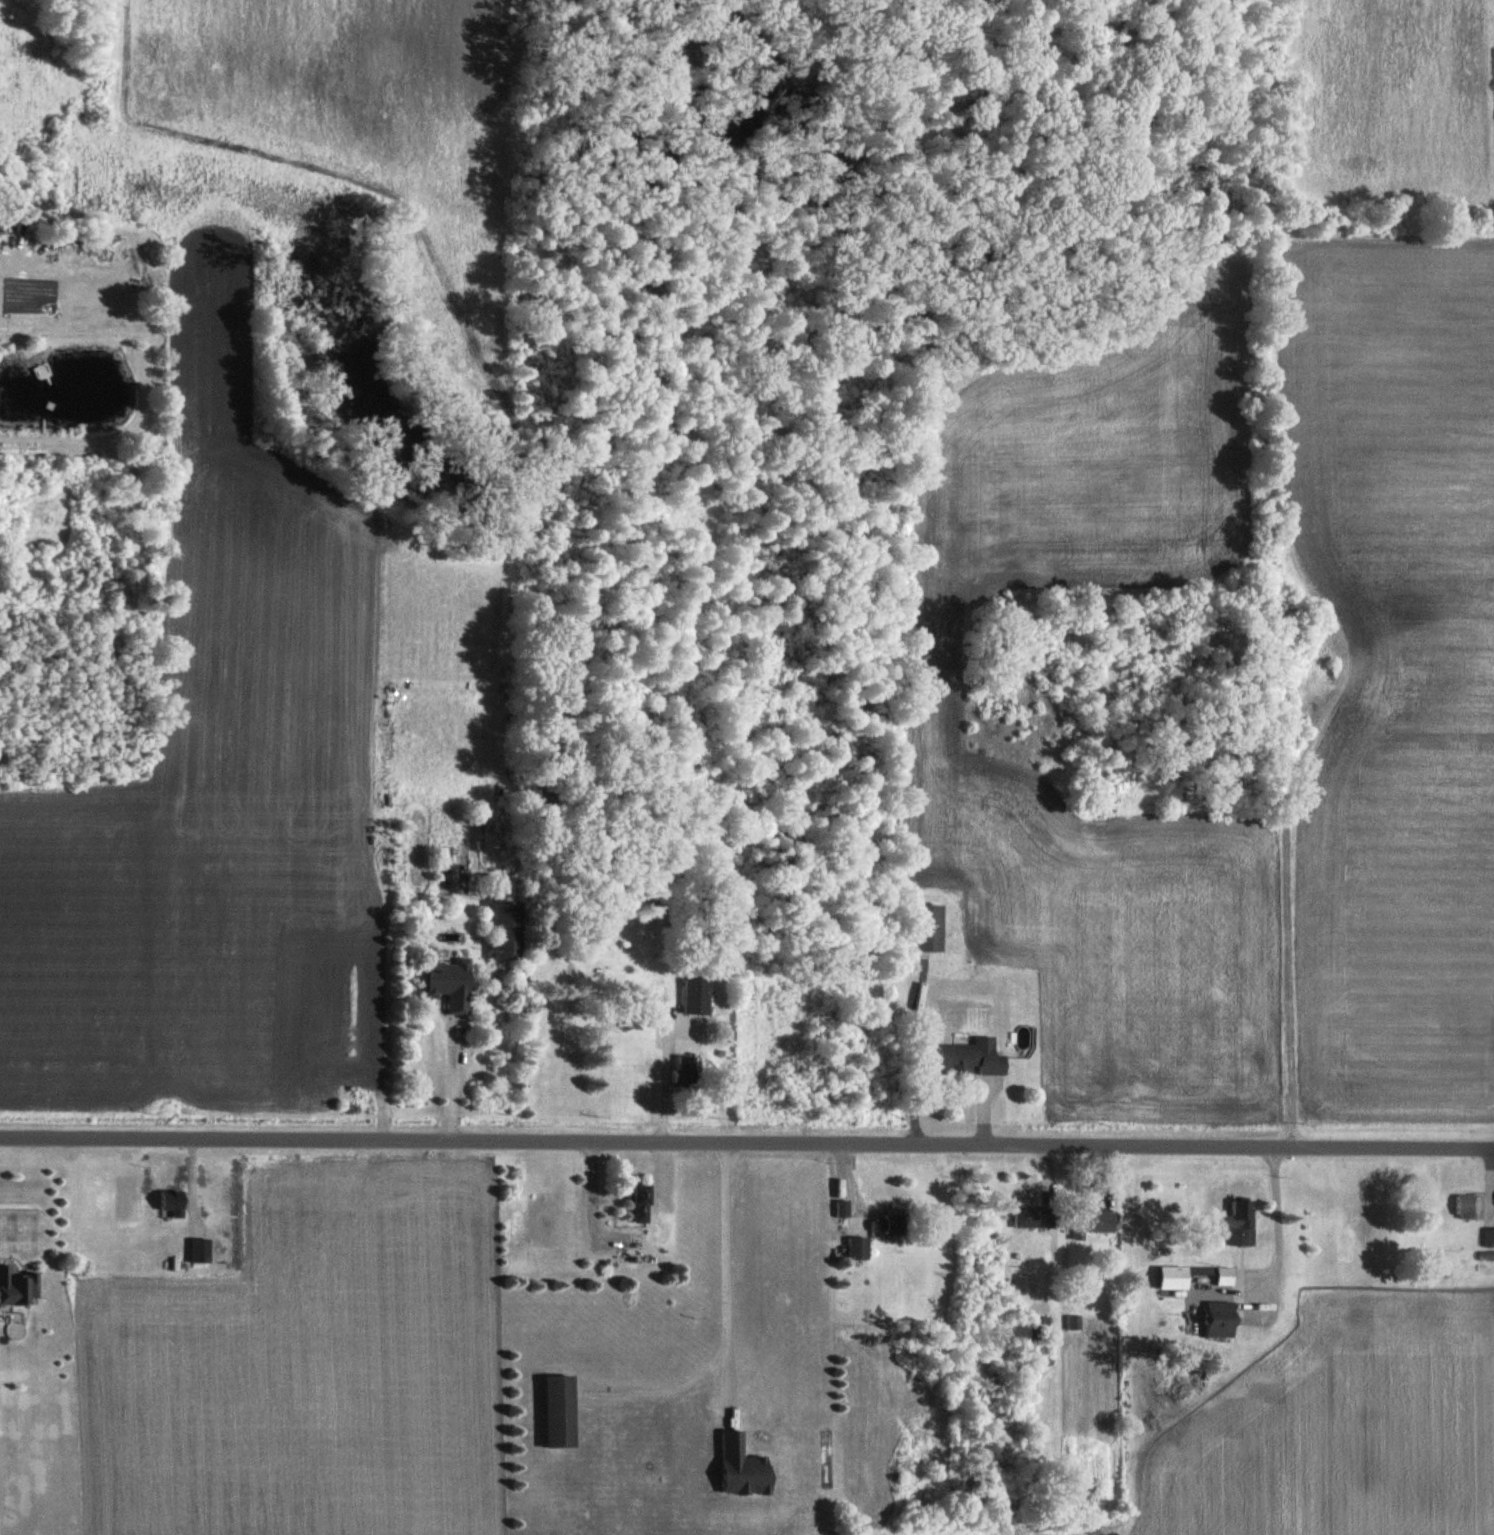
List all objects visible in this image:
building: (931, 928)
building: (512, 930)
building: (454, 983)
building: (700, 996)
building: (689, 1030)
road: (889, 1051)
building: (975, 1058)
building: (686, 1069)
road: (453, 1079)
road: (666, 1084)
road: (747, 1142)
building: (174, 1202)
building: (645, 1204)
building: (1474, 1205)
building: (845, 1207)
building: (1037, 1217)
building: (1096, 1222)
building: (1243, 1223)
building: (892, 1224)
building: (1490, 1237)
building: (860, 1247)
building: (203, 1250)
building: (1488, 1262)
building: (1229, 1276)
building: (1177, 1277)
building: (18, 1286)
road: (708, 1314)
building: (1225, 1319)
building: (564, 1412)
building: (745, 1468)

